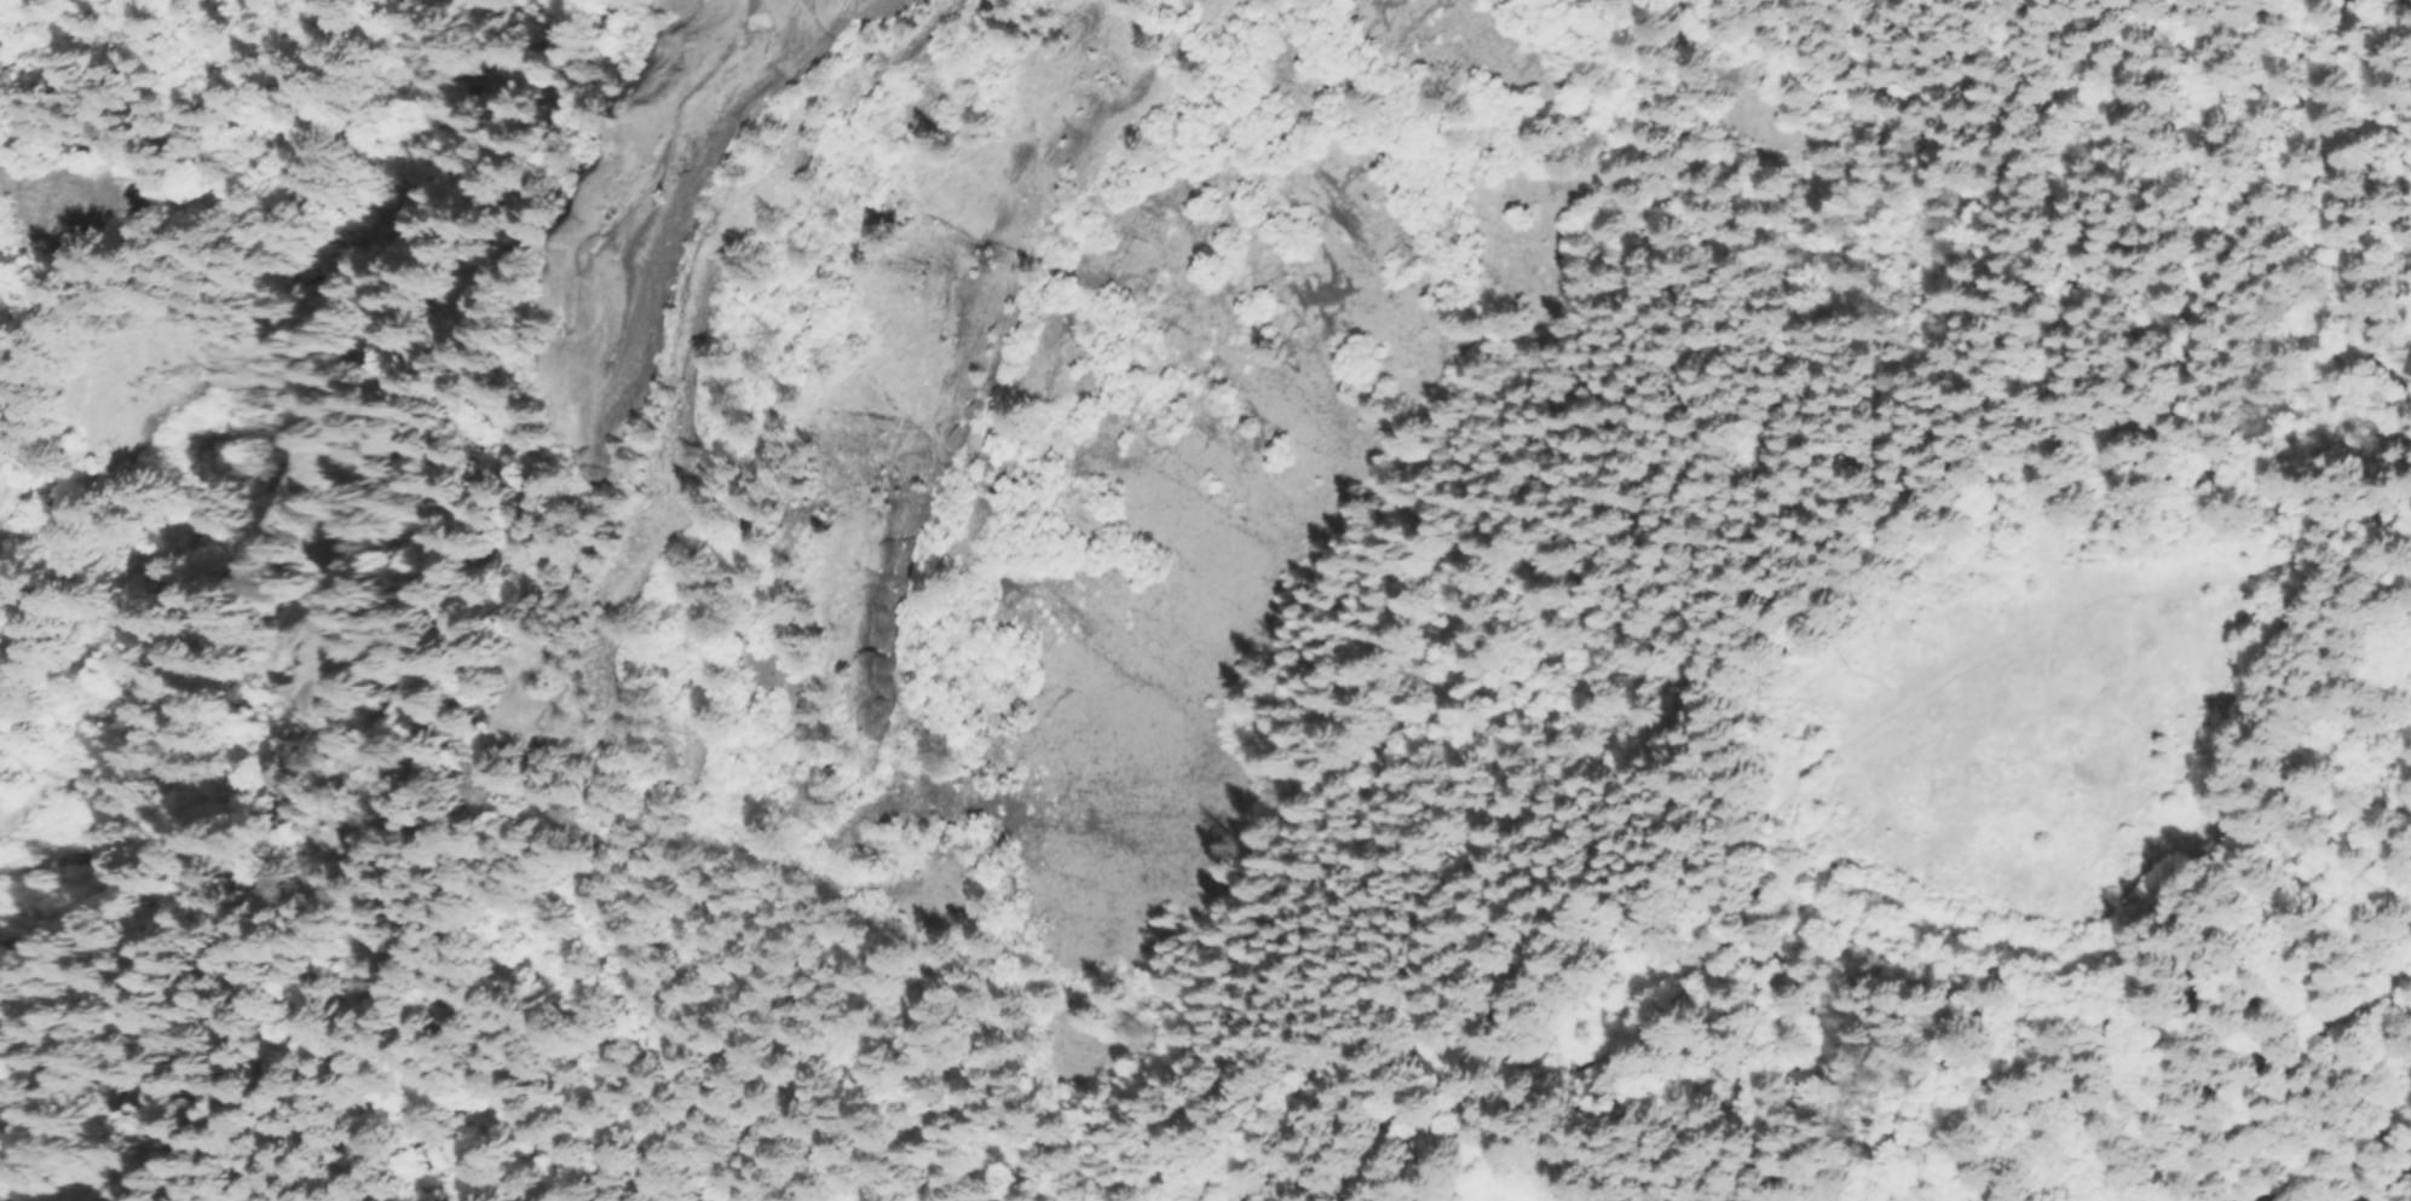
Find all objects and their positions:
road: (2193, 290)
road: (602, 486)
road: (2349, 529)
road: (1766, 826)
road: (841, 874)
road: (2076, 942)
road: (1373, 1080)
road: (1418, 1107)
road: (2128, 1110)

